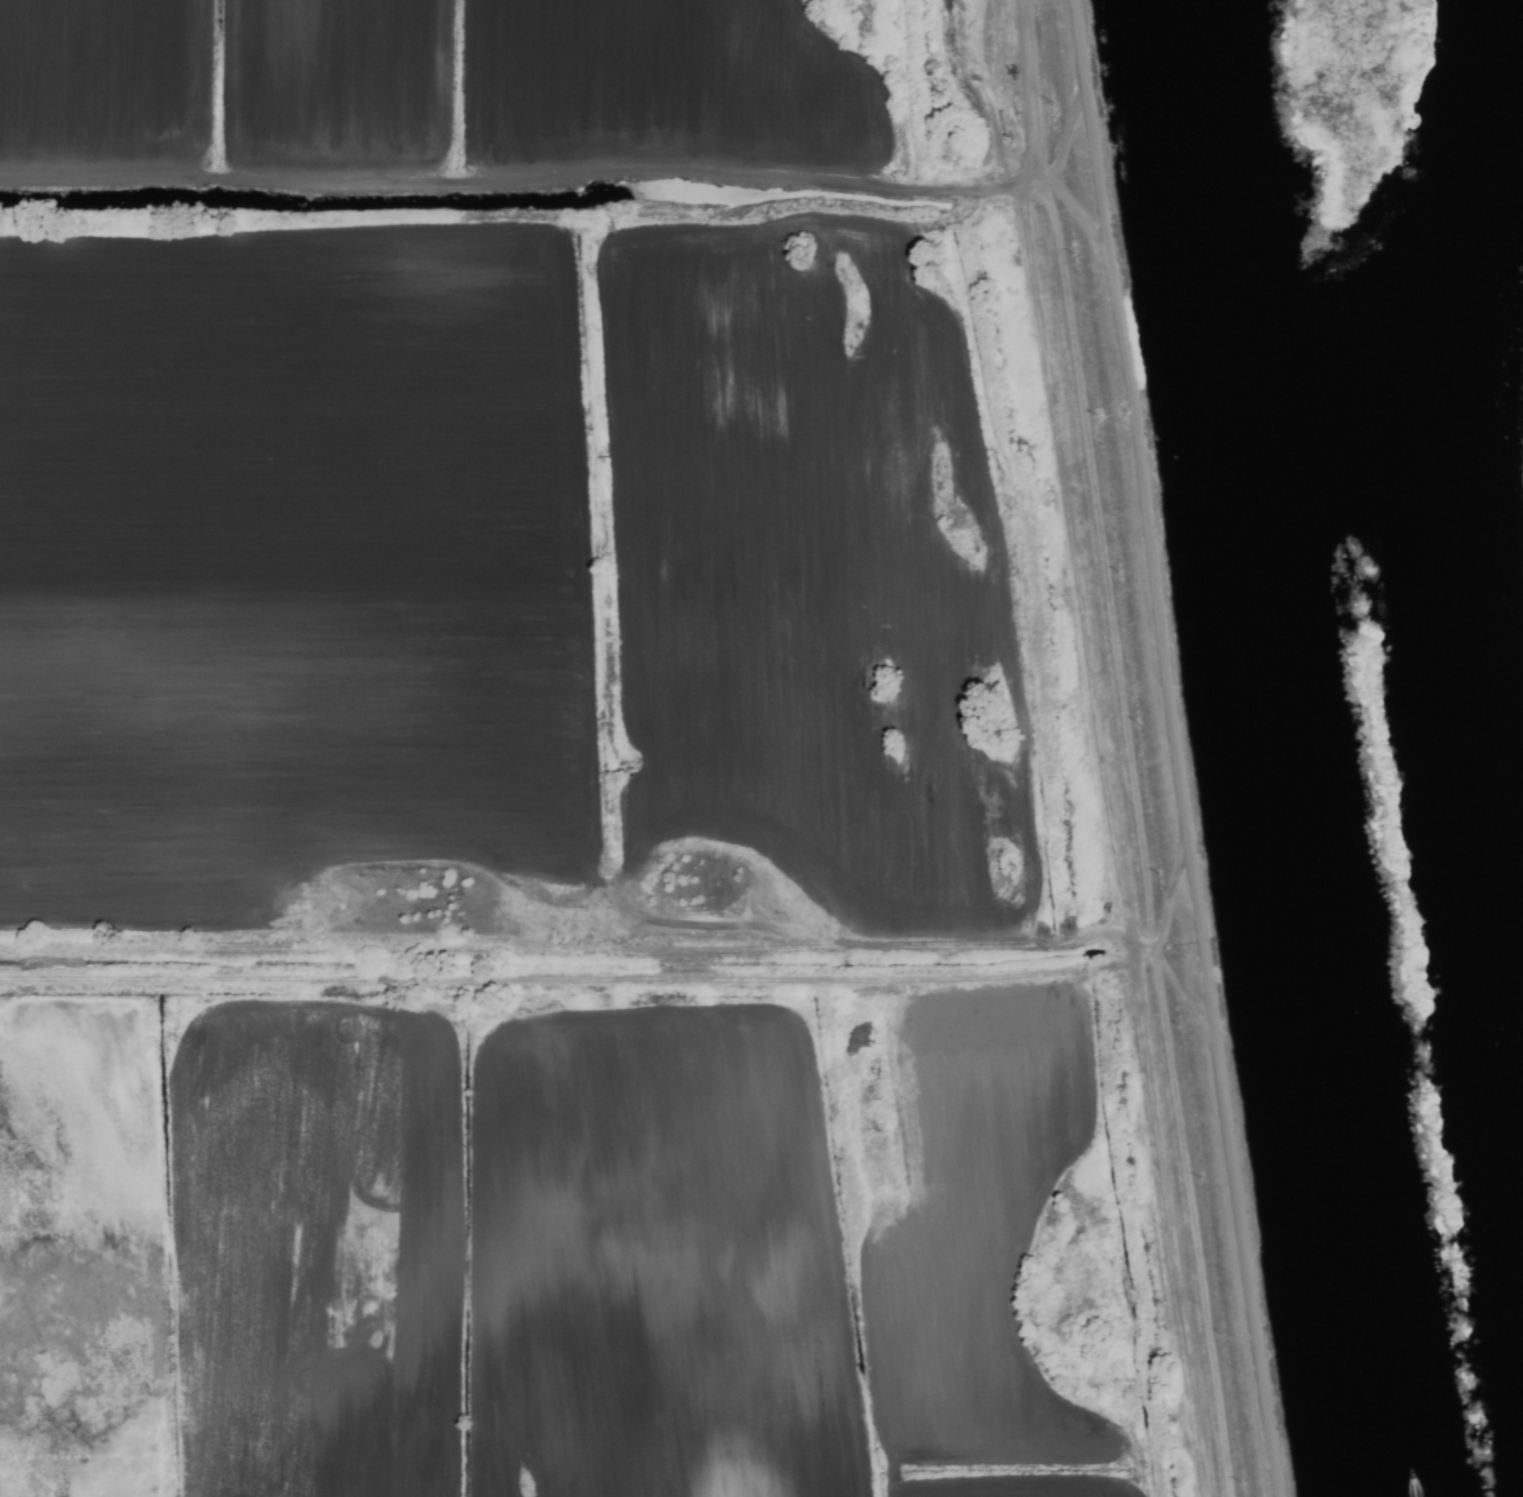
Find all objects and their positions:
road: (1016, 139)
road: (1169, 748)
crop: (591, 767)

